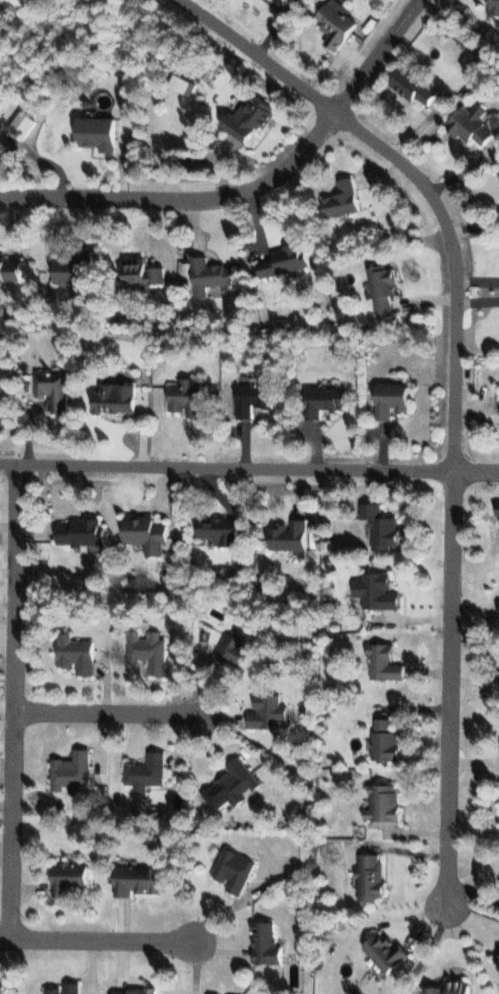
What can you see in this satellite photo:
building: (15, 2)
building: (495, 6)
building: (340, 24)
building: (415, 86)
building: (192, 87)
building: (253, 117)
building: (473, 124)
building: (101, 132)
road: (253, 192)
building: (345, 198)
building: (289, 259)
building: (12, 269)
building: (77, 269)
building: (146, 272)
building: (213, 275)
building: (385, 288)
building: (56, 389)
building: (119, 397)
building: (190, 398)
building: (256, 398)
building: (394, 398)
building: (327, 400)
road: (453, 426)
road: (249, 469)
building: (383, 526)
building: (223, 530)
building: (84, 532)
building: (149, 533)
building: (292, 535)
building: (379, 591)
building: (150, 649)
building: (234, 651)
building: (78, 654)
building: (386, 662)
road: (18, 704)
road: (132, 708)
building: (269, 711)
building: (387, 740)
building: (148, 771)
building: (73, 772)
building: (233, 785)
building: (386, 803)
building: (235, 869)
building: (72, 877)
building: (372, 877)
building: (140, 880)
road: (116, 941)
building: (267, 944)
building: (388, 952)
building: (497, 958)
building: (453, 987)
building: (67, 989)
building: (137, 991)

